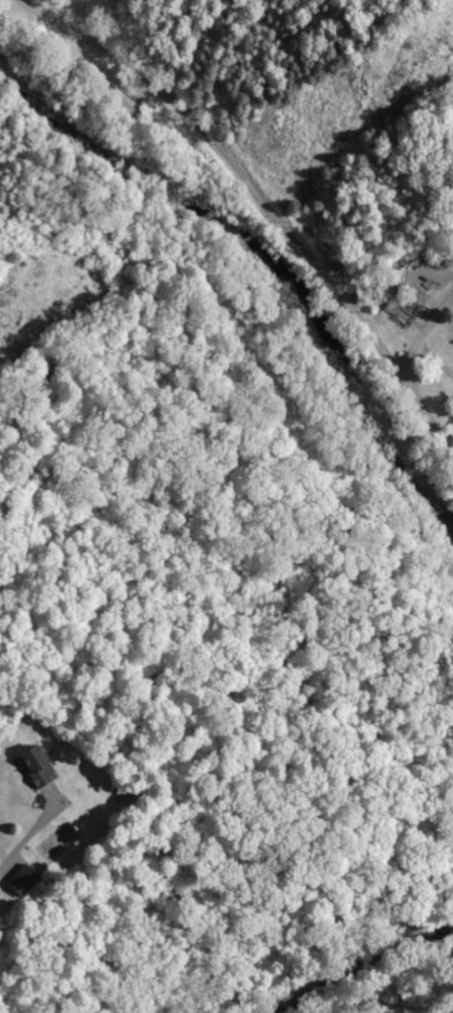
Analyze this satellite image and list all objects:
road: (238, 277)
building: (41, 766)
building: (28, 880)
road: (361, 964)

